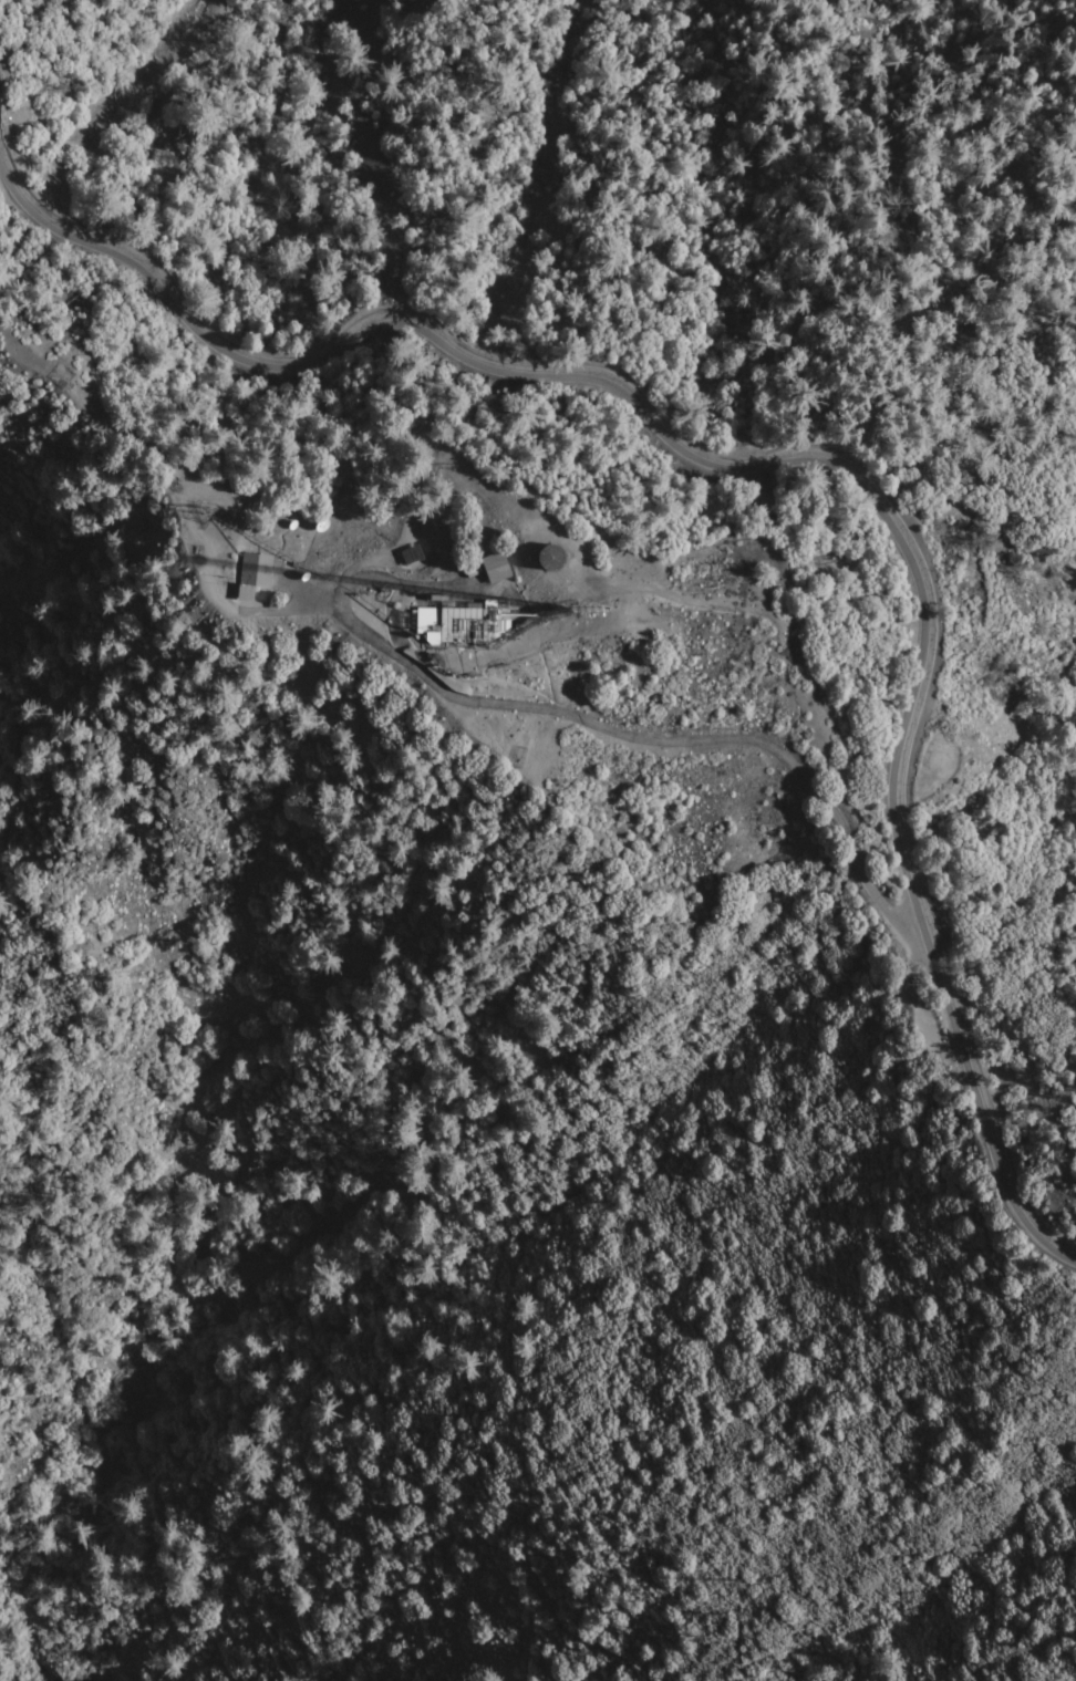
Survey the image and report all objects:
helipad: (60, 375)
road: (537, 436)
road: (788, 460)
building: (446, 536)
building: (425, 539)
building: (551, 557)
storage tank: (551, 557)
building: (524, 561)
building: (496, 567)
building: (271, 570)
building: (254, 573)
building: (462, 622)
road: (582, 719)

